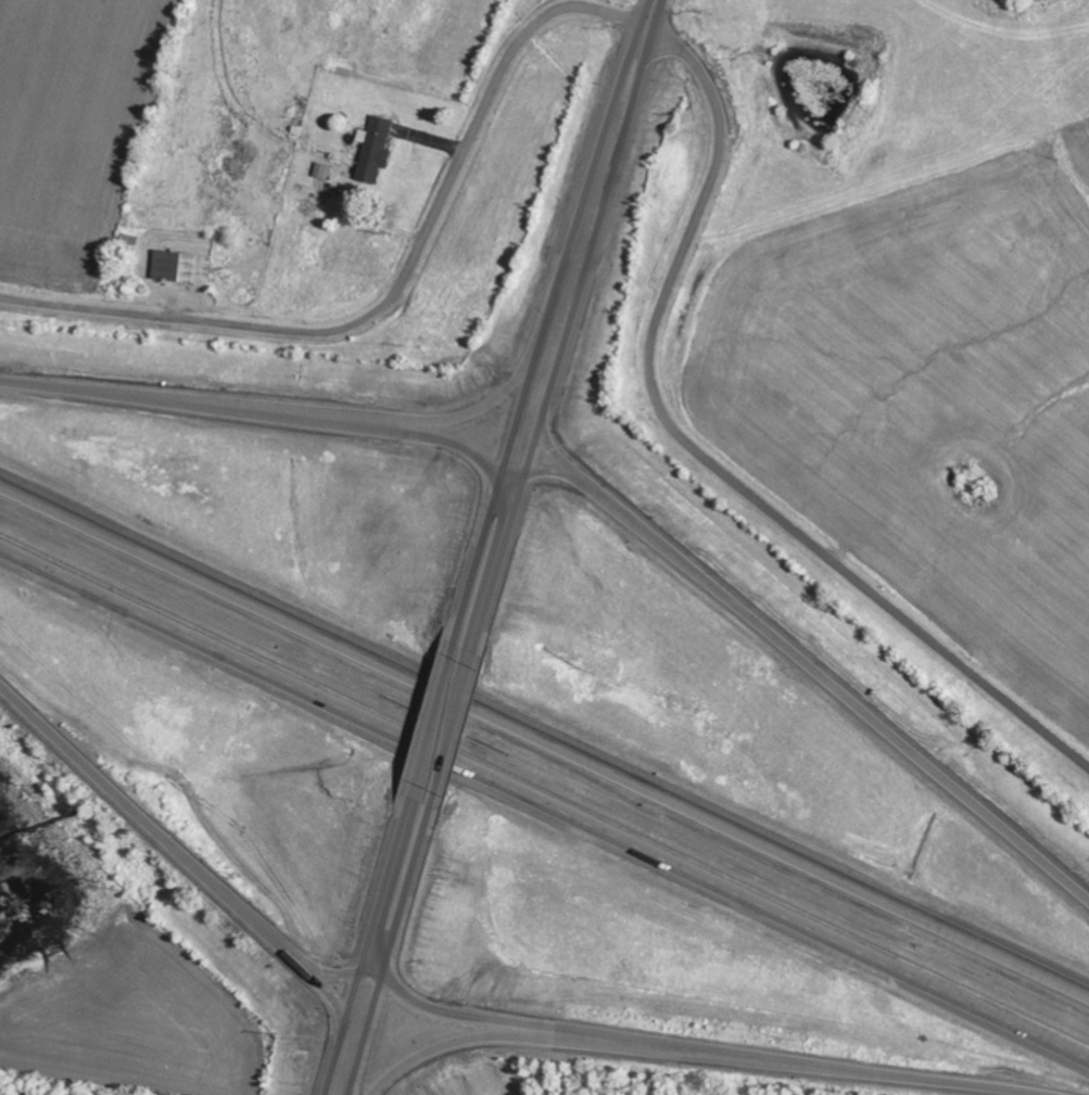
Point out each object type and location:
road: (653, 13)
building: (376, 151)
building: (322, 167)
building: (181, 269)
road: (398, 289)
road: (544, 341)
road: (564, 347)
road: (275, 411)
road: (443, 421)
road: (705, 458)
road: (582, 484)
road: (803, 662)
road: (430, 721)
road: (449, 729)
road: (544, 739)
road: (544, 805)
road: (190, 862)
road: (373, 940)
road: (392, 943)
road: (325, 986)
road: (495, 1037)
road: (682, 1053)

